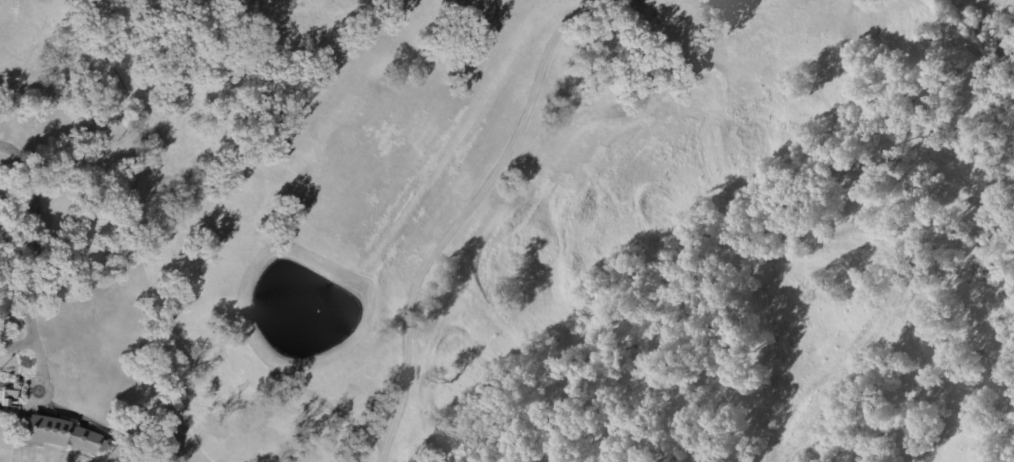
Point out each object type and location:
road: (461, 220)
road: (38, 256)
road: (18, 344)
road: (29, 385)
building: (8, 397)
road: (102, 424)
building: (57, 433)

